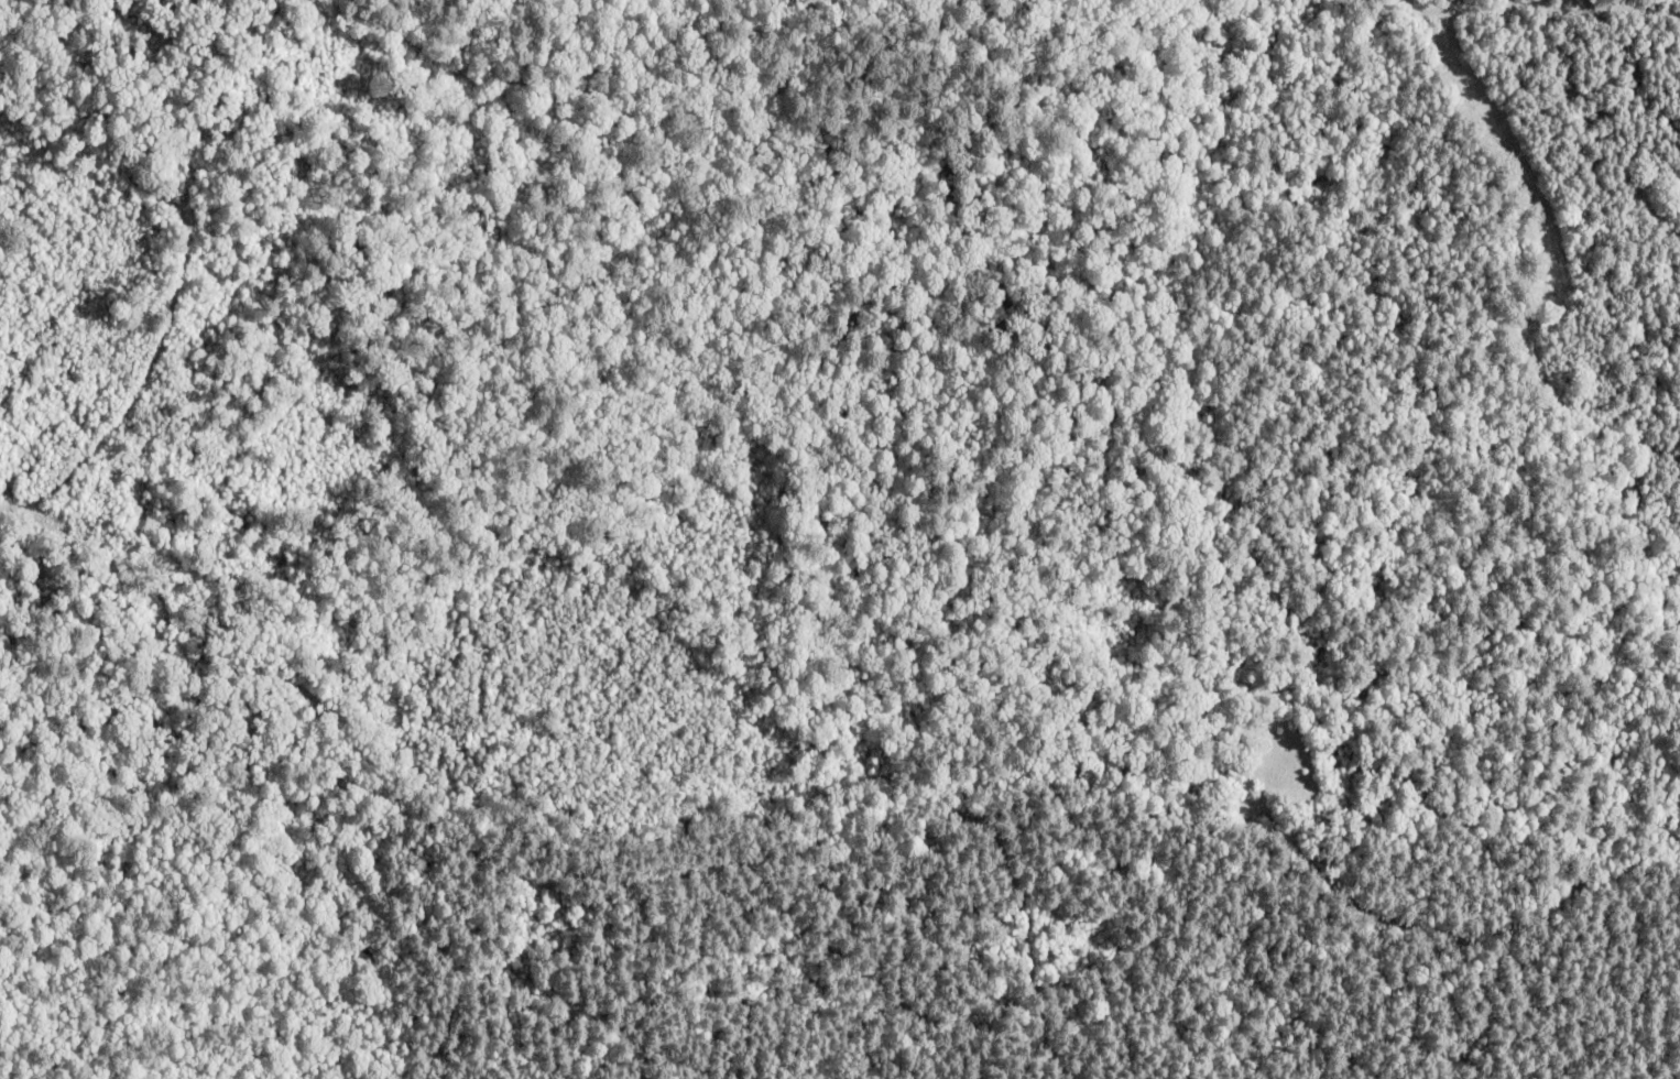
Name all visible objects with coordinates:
road: (20, 504)

